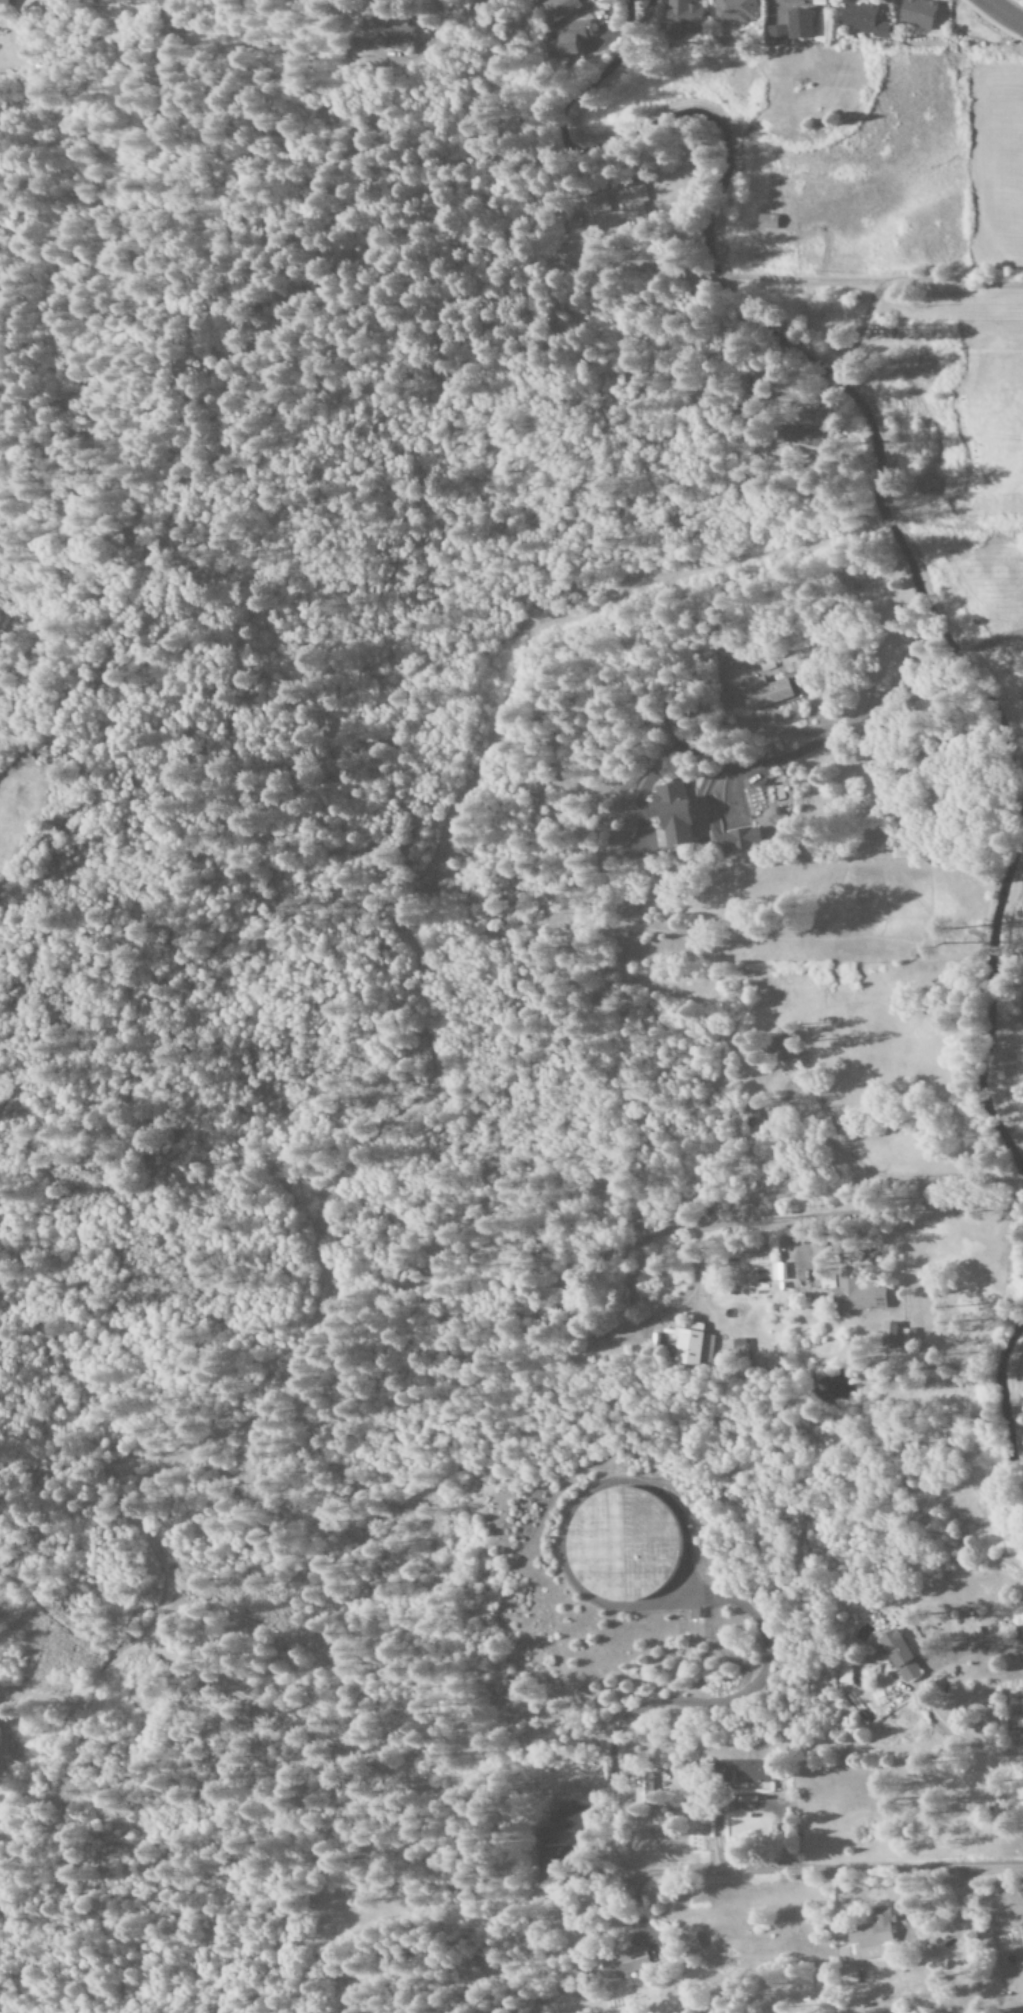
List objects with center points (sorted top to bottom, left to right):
building: (4, 4)
building: (562, 8)
road: (296, 9)
building: (733, 11)
road: (1005, 12)
building: (916, 13)
building: (682, 16)
building: (862, 20)
building: (799, 23)
building: (388, 32)
building: (775, 34)
building: (572, 38)
building: (633, 200)
building: (594, 204)
road: (882, 281)
building: (799, 439)
building: (769, 669)
building: (769, 692)
building: (1022, 696)
building: (671, 812)
building: (744, 837)
building: (783, 1047)
building: (750, 1115)
road: (781, 1217)
building: (777, 1271)
building: (853, 1291)
building: (549, 1301)
building: (888, 1335)
building: (907, 1337)
building: (688, 1345)
building: (737, 1347)
building: (623, 1543)
storage tank: (623, 1543)
building: (899, 1656)
building: (740, 1771)
building: (643, 1789)
building: (557, 1828)
road: (828, 1872)
building: (1022, 1932)
building: (870, 1938)
building: (690, 1942)
building: (624, 1963)

